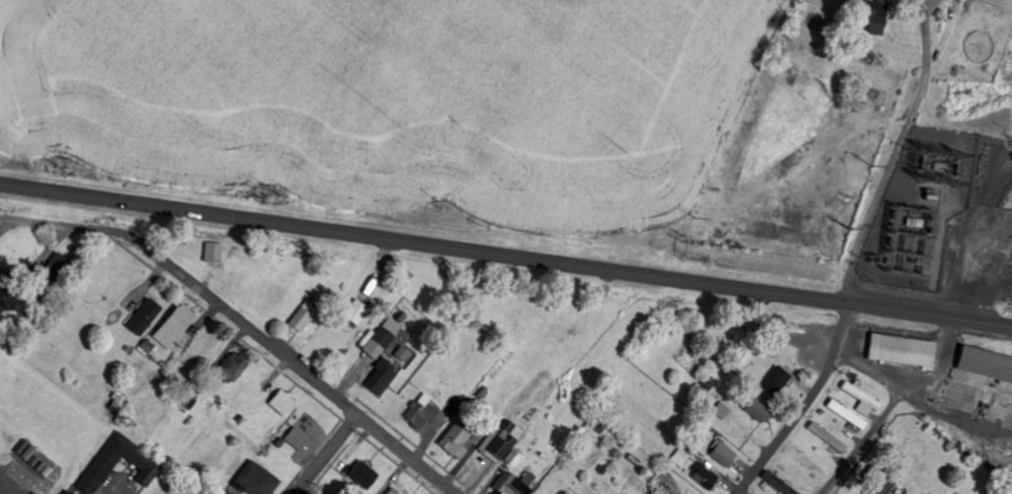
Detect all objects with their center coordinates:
building: (990, 2)
building: (872, 17)
power substation: (940, 223)
building: (217, 253)
road: (506, 255)
building: (6, 300)
building: (355, 312)
building: (146, 317)
road: (245, 325)
building: (177, 327)
building: (381, 337)
building: (899, 350)
building: (983, 364)
building: (232, 365)
building: (378, 380)
building: (861, 397)
building: (281, 402)
road: (806, 404)
building: (756, 408)
building: (420, 412)
building: (846, 414)
building: (827, 437)
building: (294, 438)
building: (454, 440)
building: (502, 441)
building: (722, 453)
road: (326, 455)
building: (513, 458)
building: (141, 461)
building: (359, 473)
building: (703, 476)
building: (254, 479)
building: (880, 485)
building: (510, 486)
building: (218, 490)
building: (389, 491)
building: (72, 492)
building: (228, 493)
road: (739, 493)

